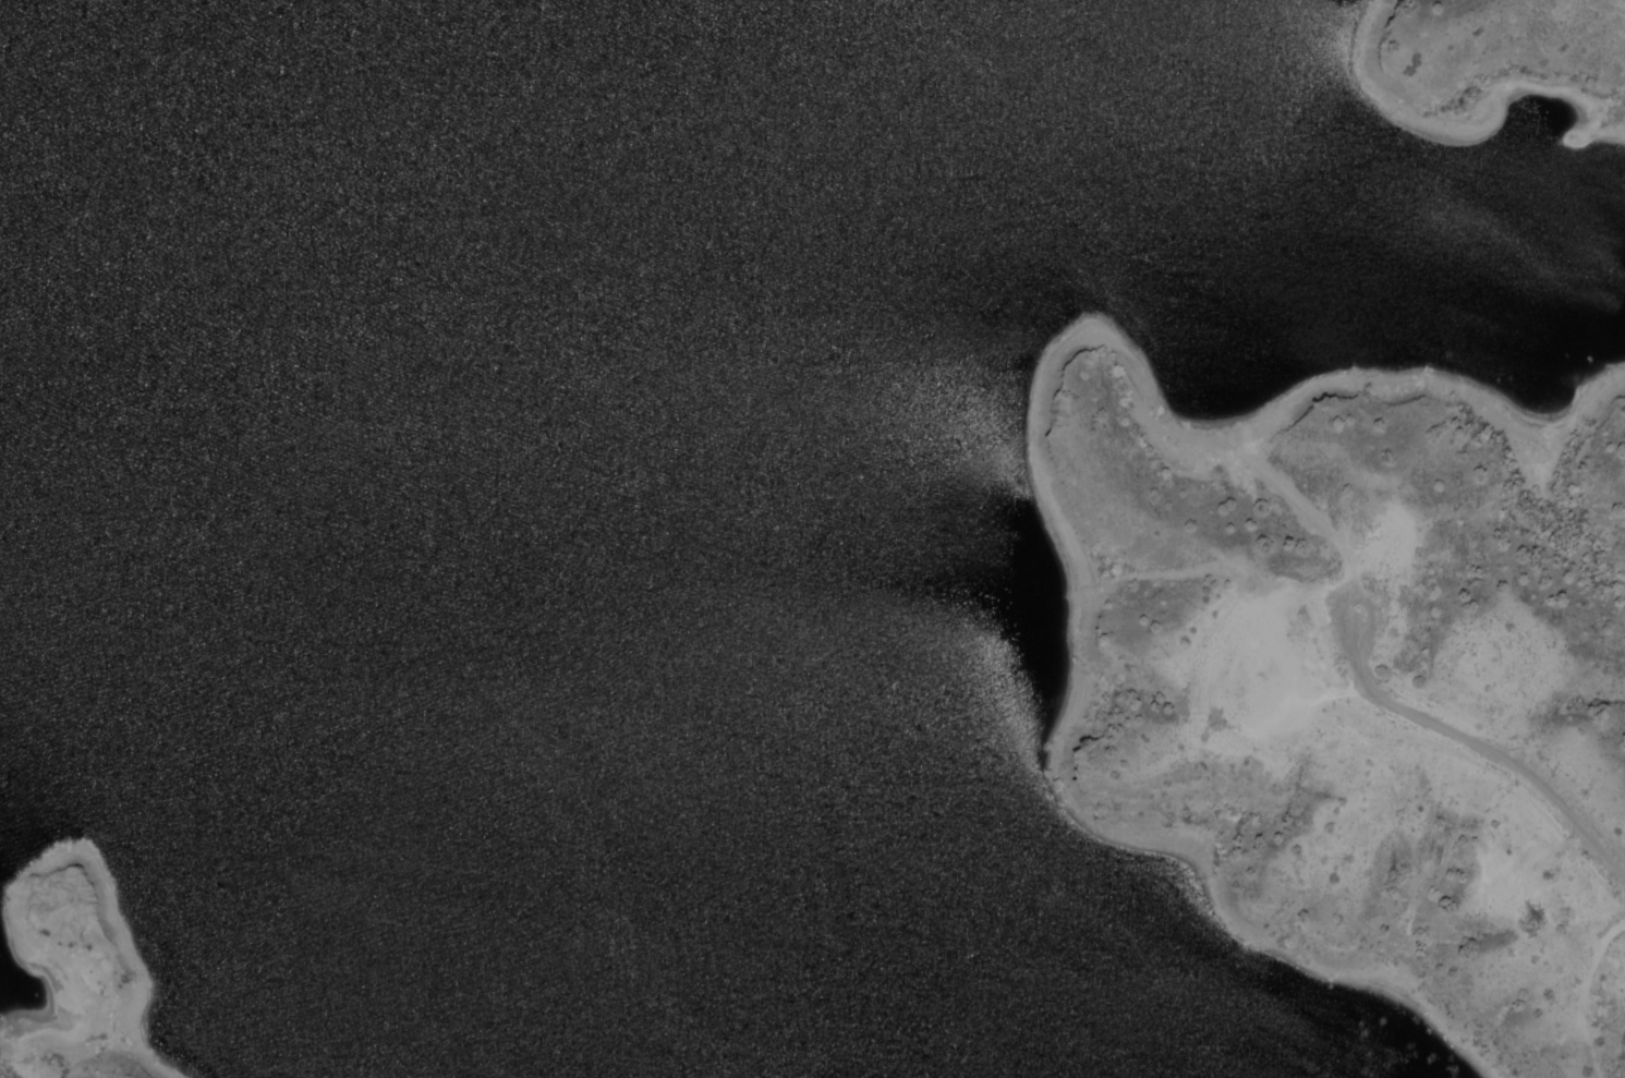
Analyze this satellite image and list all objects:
road: (1487, 749)

